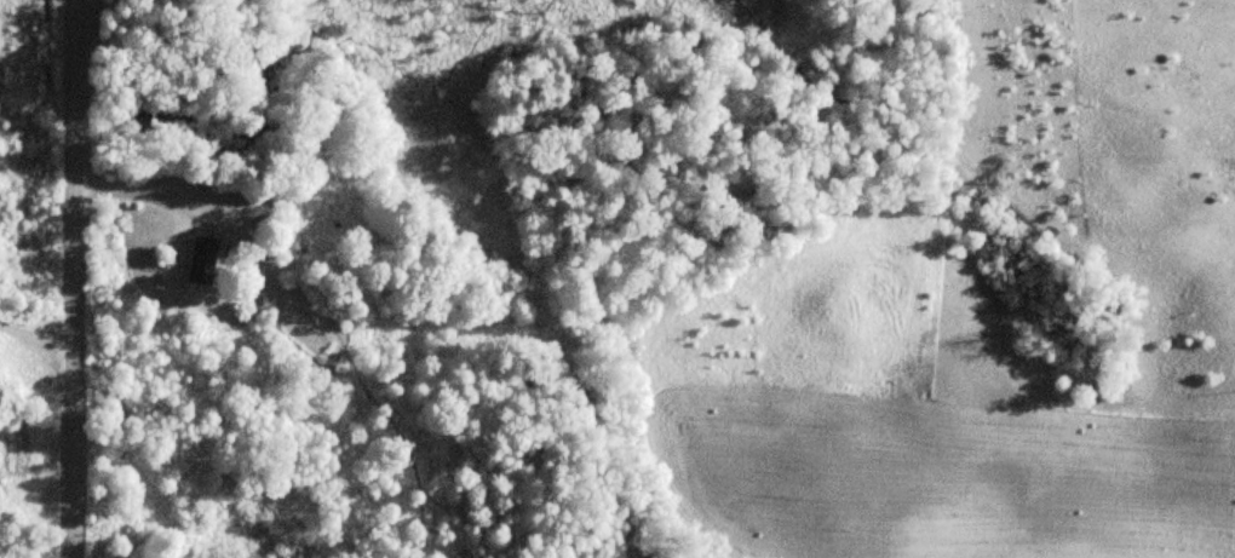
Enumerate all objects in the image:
building: (202, 261)
road: (68, 278)

